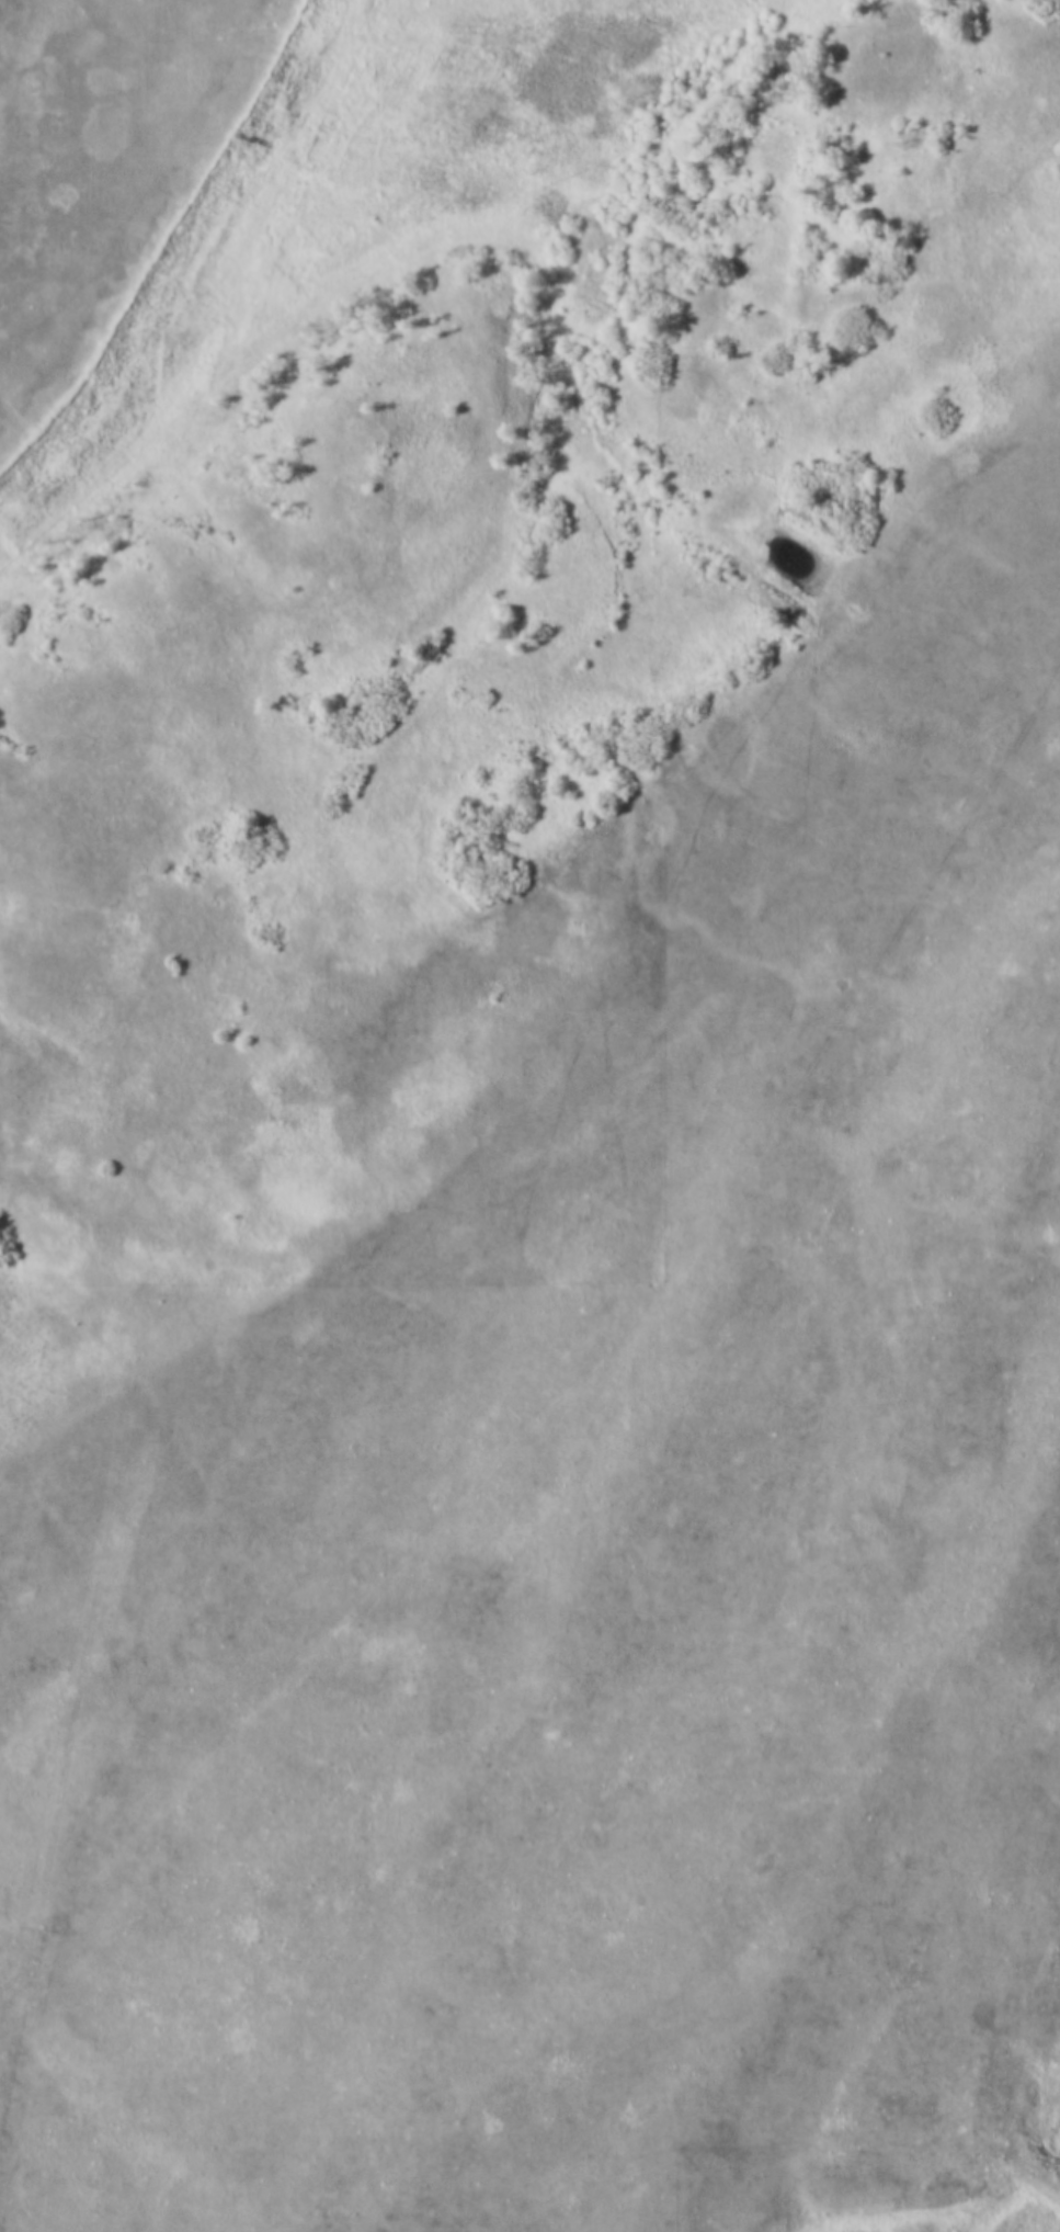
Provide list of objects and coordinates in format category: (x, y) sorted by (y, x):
road: (870, 2142)
dam: (1039, 2163)

